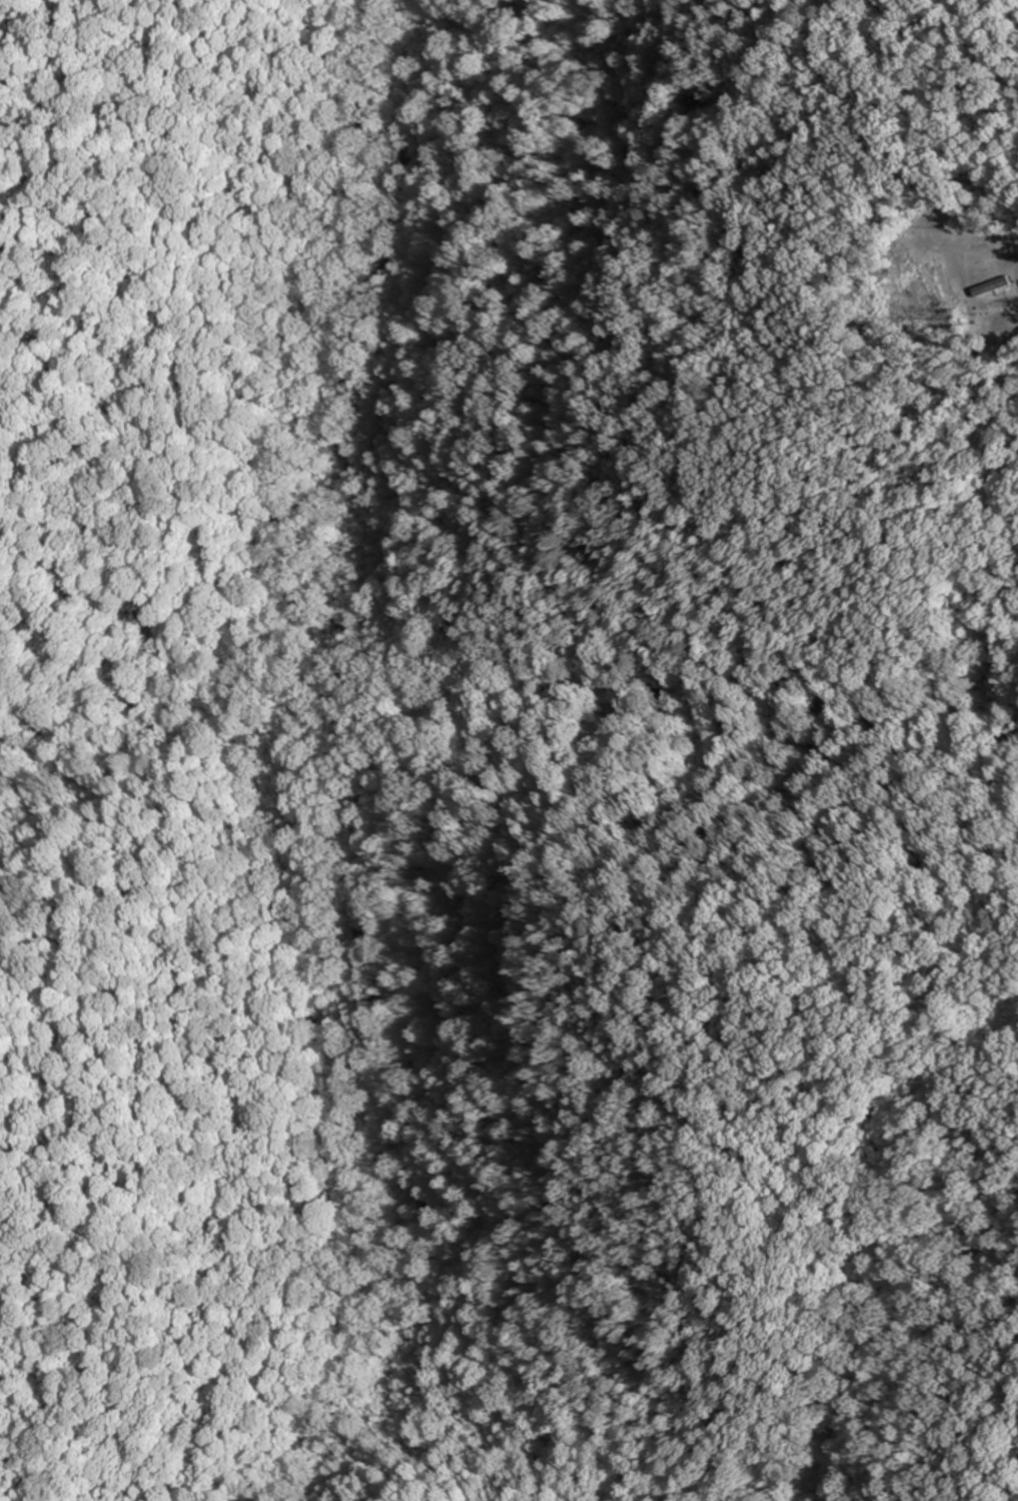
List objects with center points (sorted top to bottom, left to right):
road: (968, 364)
road: (911, 414)

